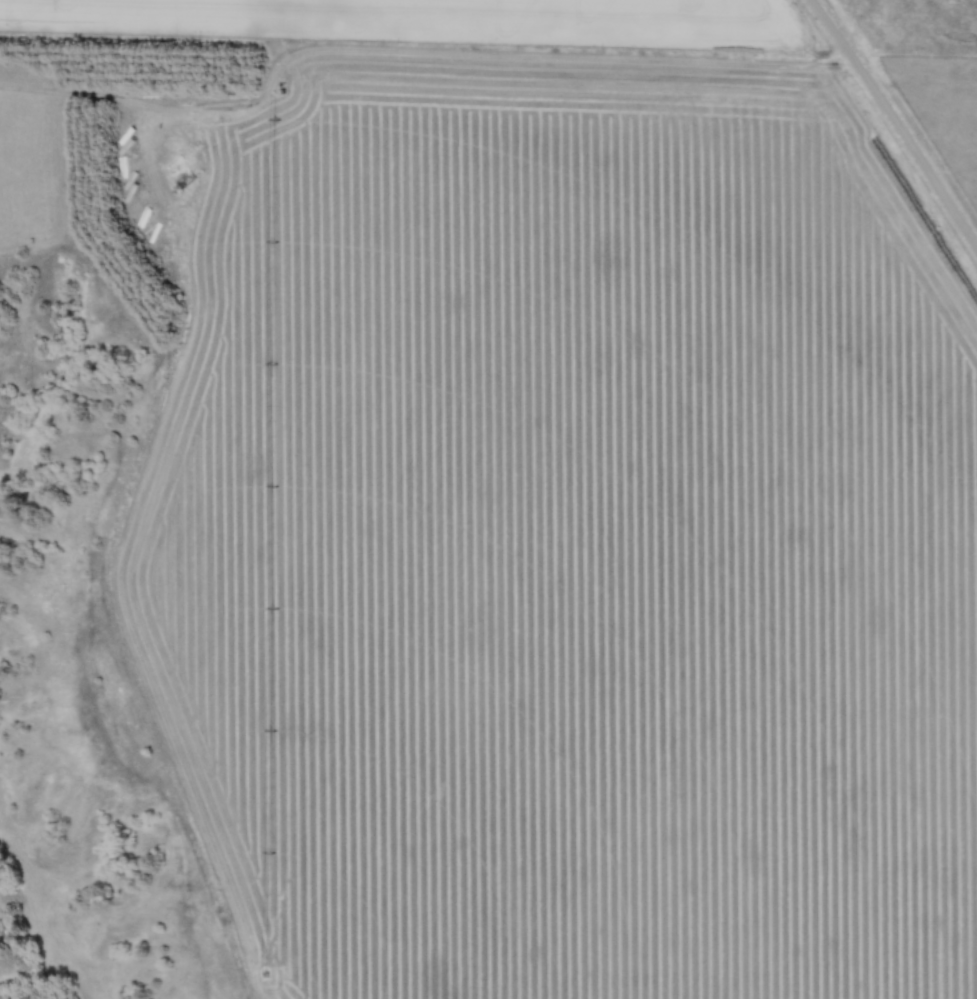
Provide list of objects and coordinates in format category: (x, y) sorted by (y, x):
road: (895, 121)

